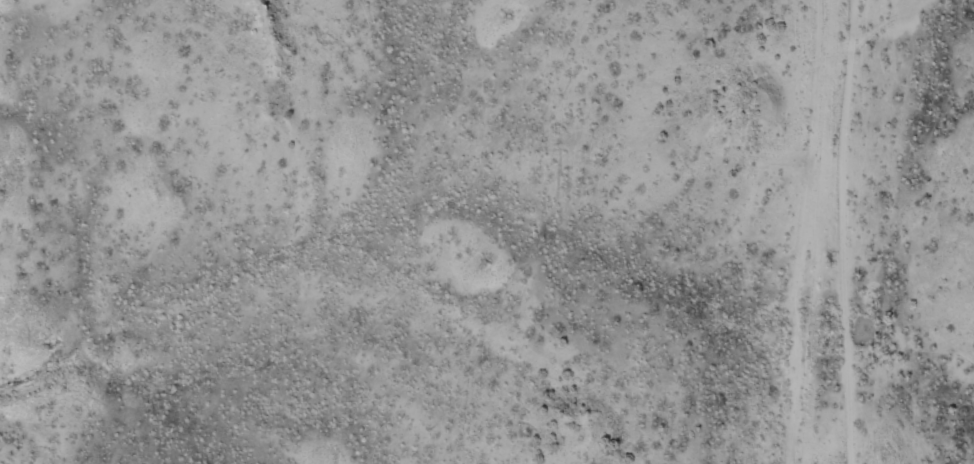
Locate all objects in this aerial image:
road: (854, 232)

